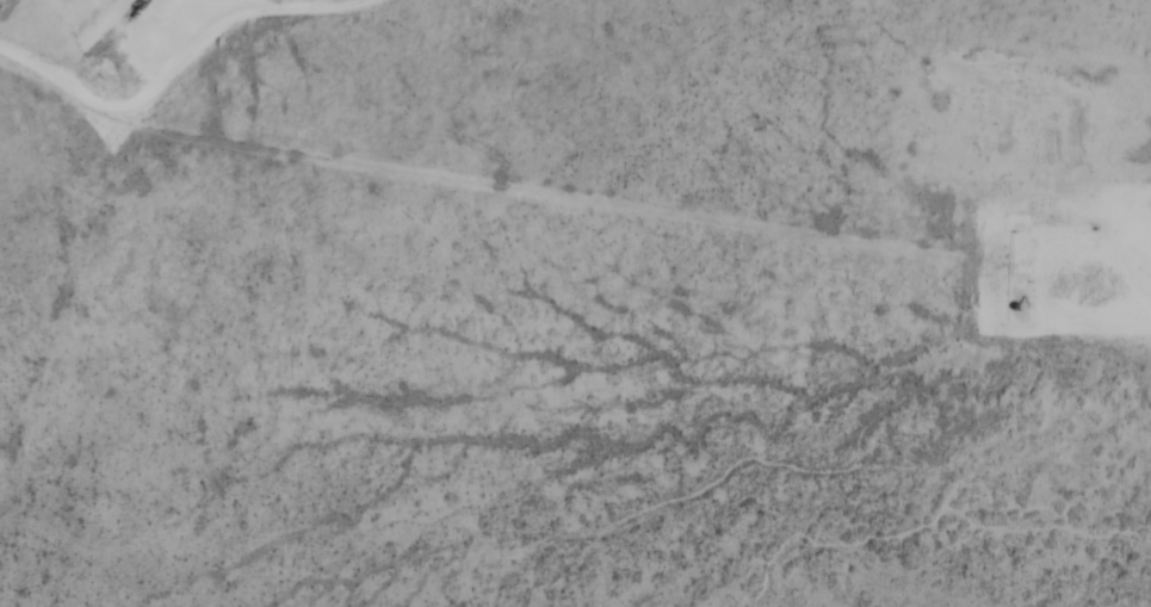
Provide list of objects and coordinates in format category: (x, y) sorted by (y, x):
road: (184, 49)

